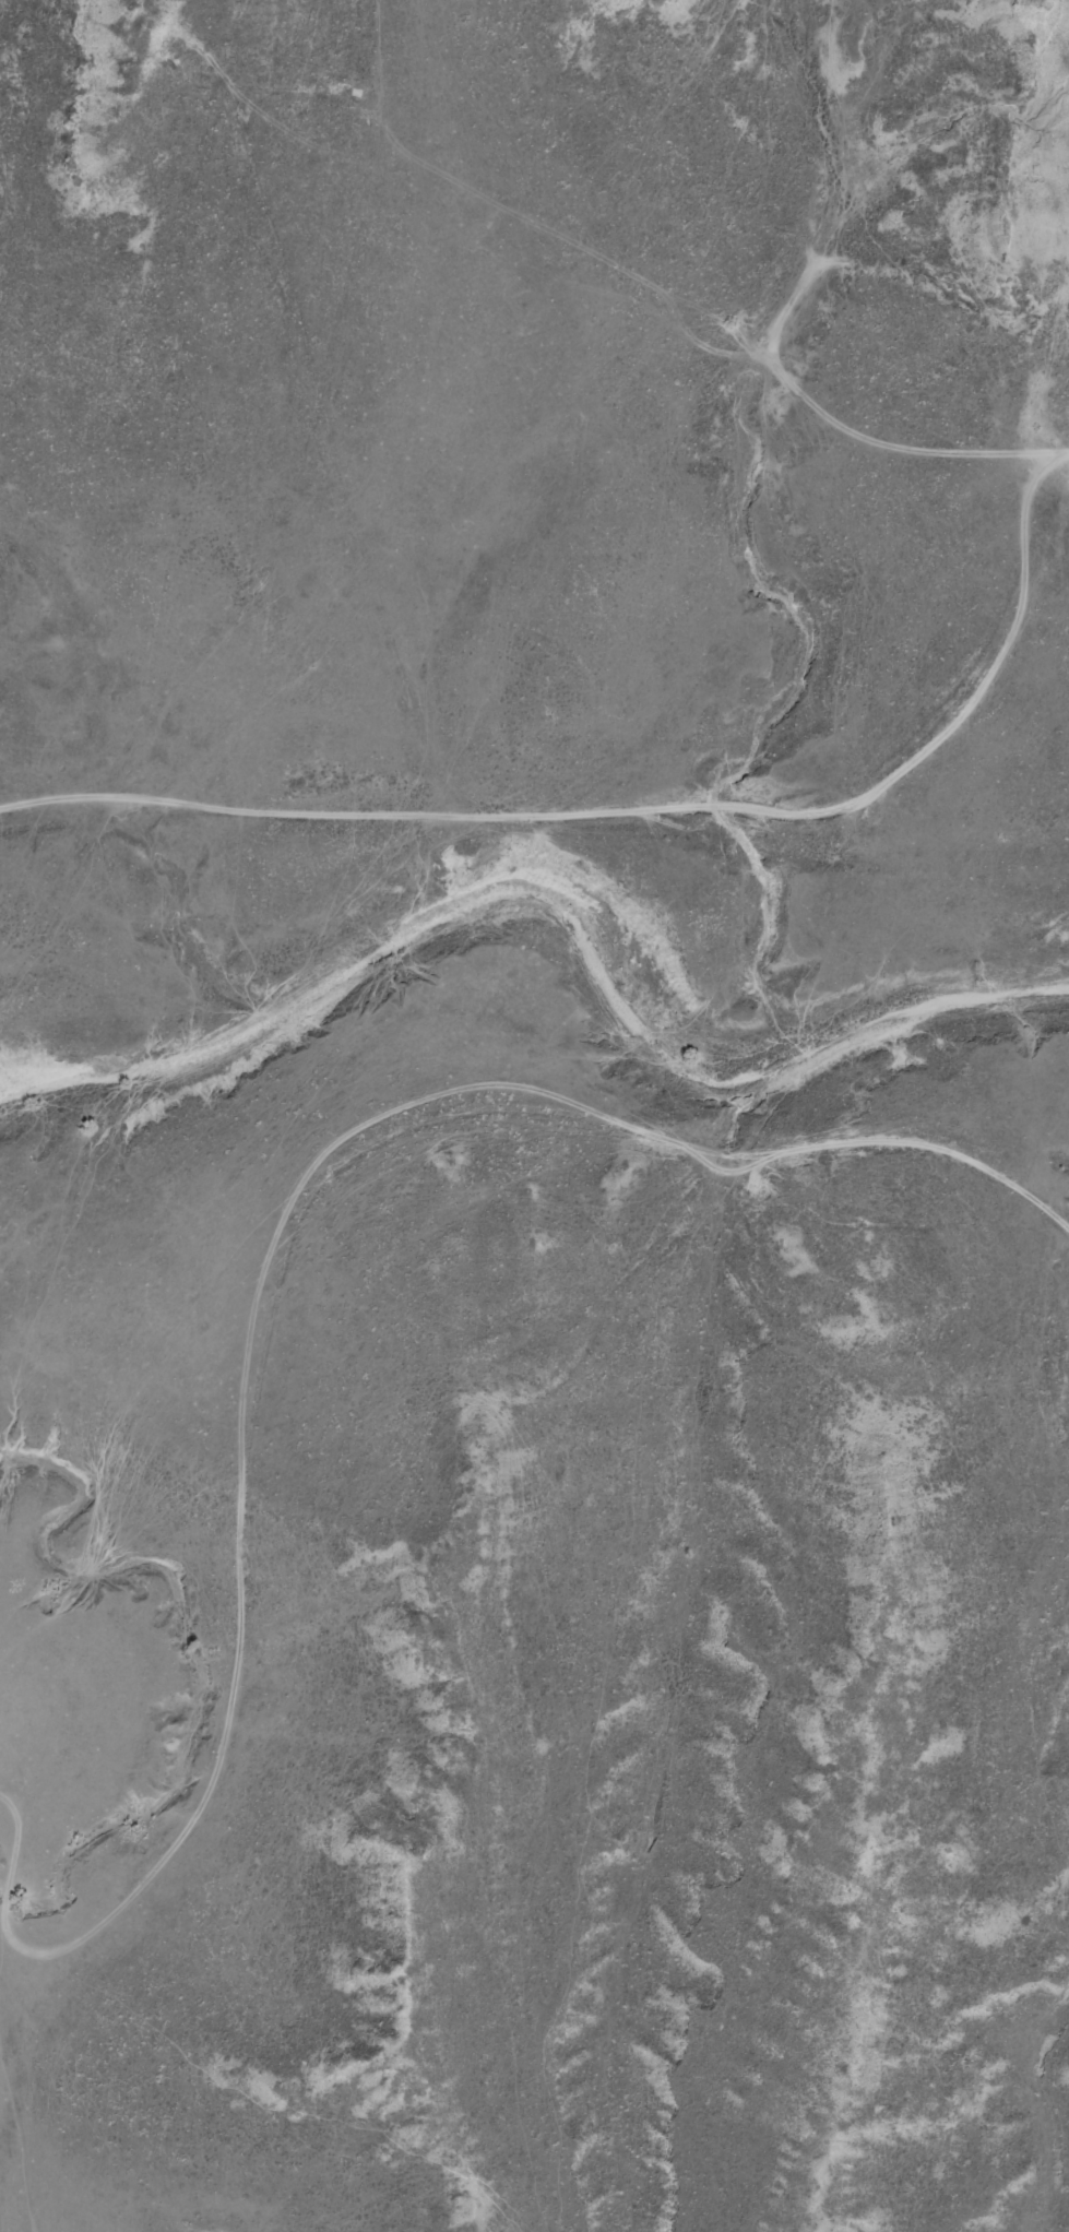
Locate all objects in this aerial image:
river: (562, 909)

